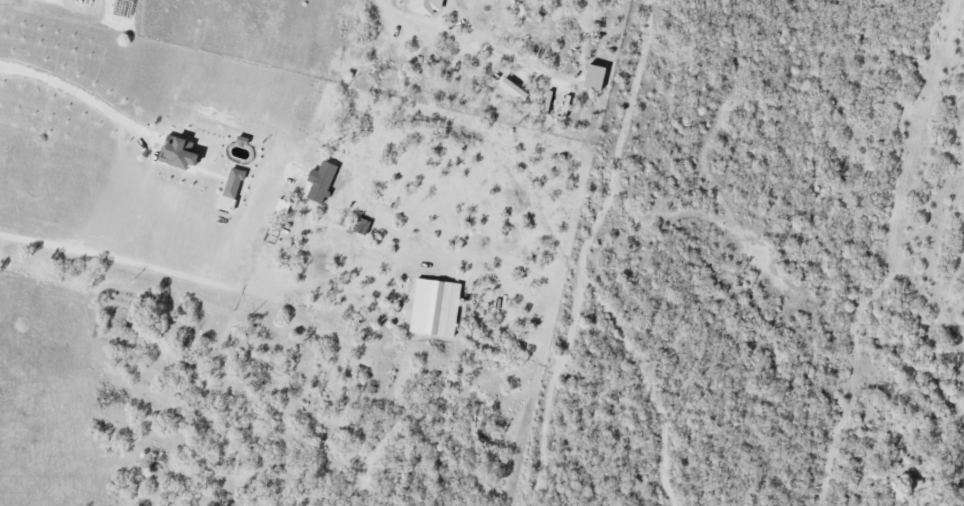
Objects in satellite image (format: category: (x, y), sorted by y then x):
building: (428, 7)
road: (77, 90)
building: (516, 91)
building: (565, 109)
building: (322, 183)
building: (234, 185)
road: (157, 265)
building: (436, 309)

